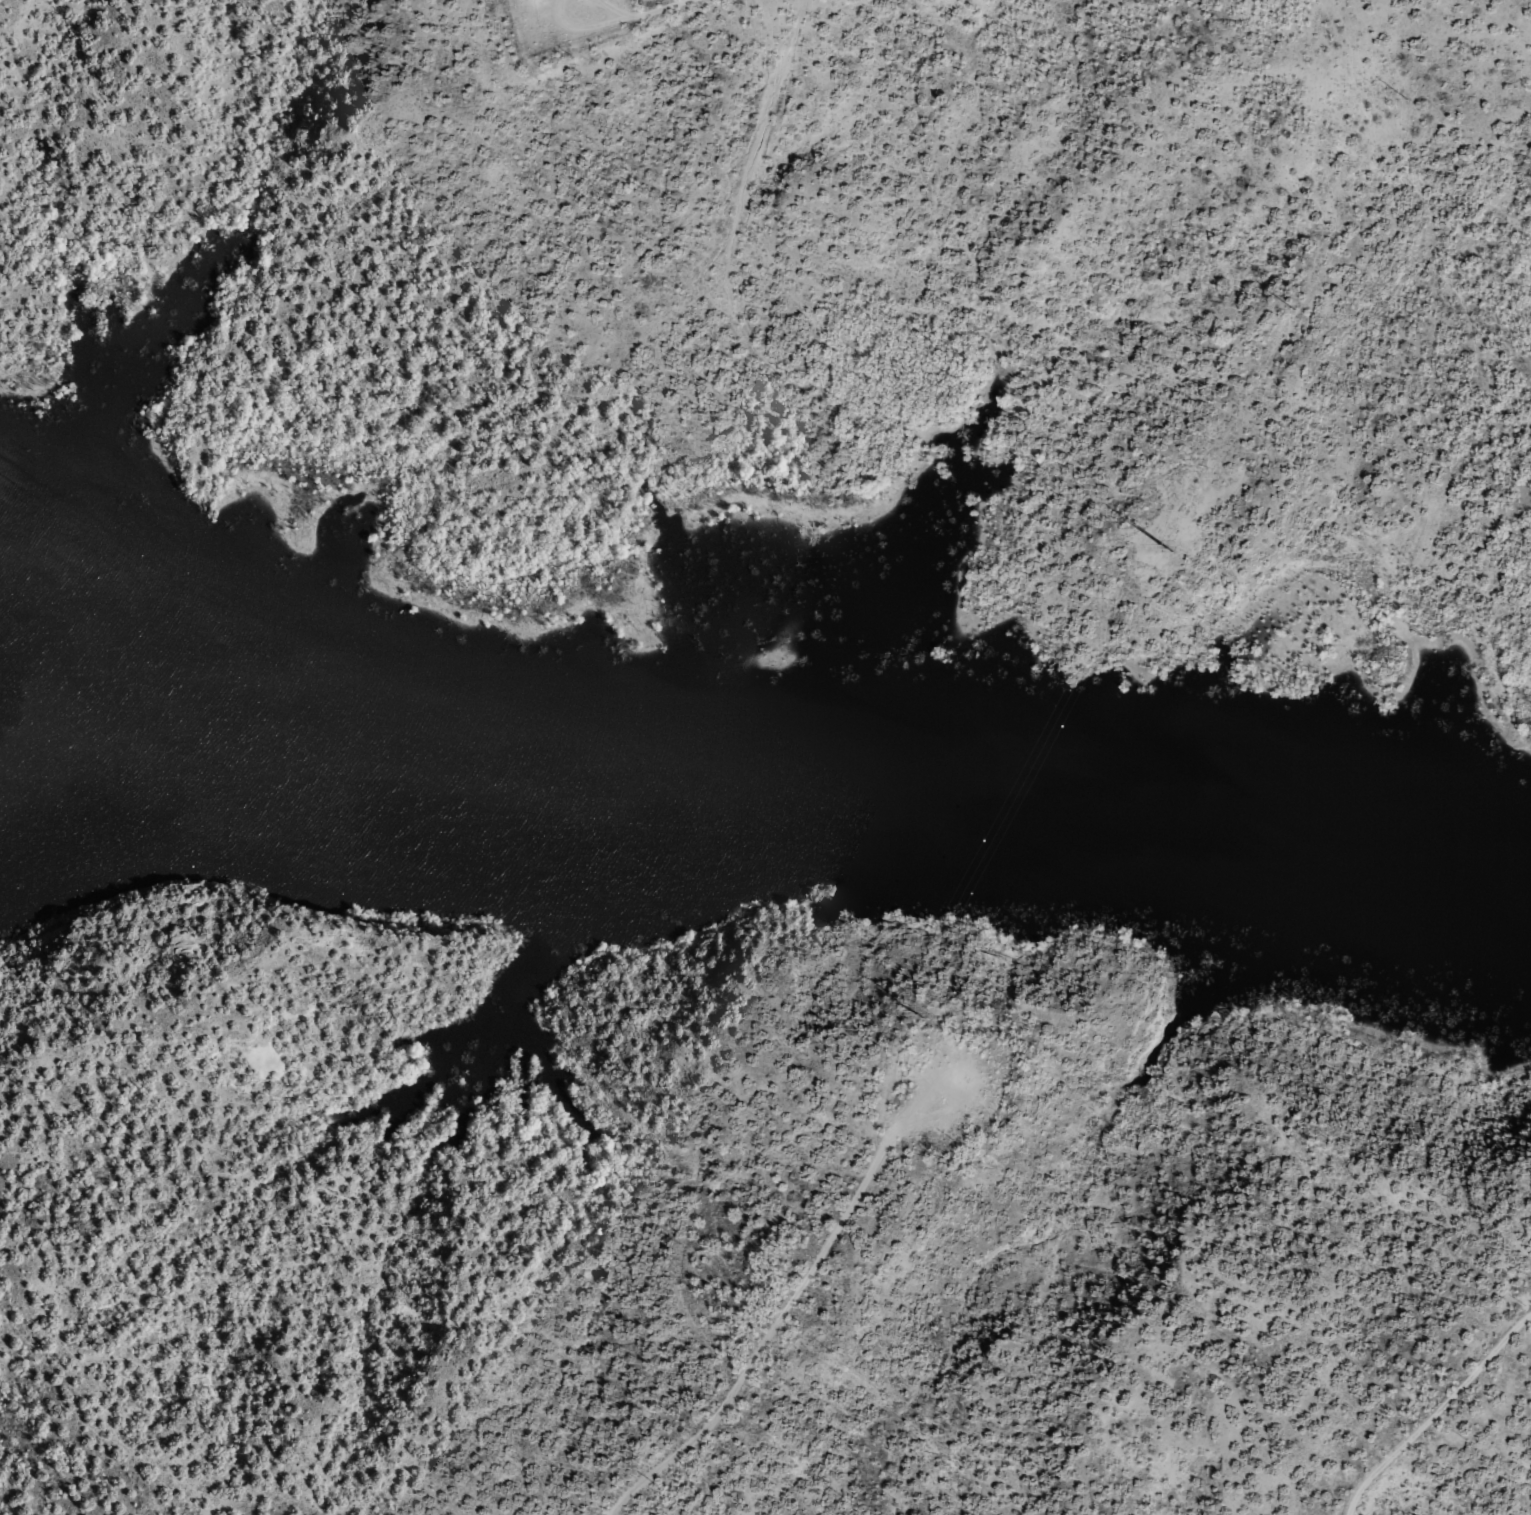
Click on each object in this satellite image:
road: (1492, 7)
river: (752, 808)
road: (1365, 1437)

